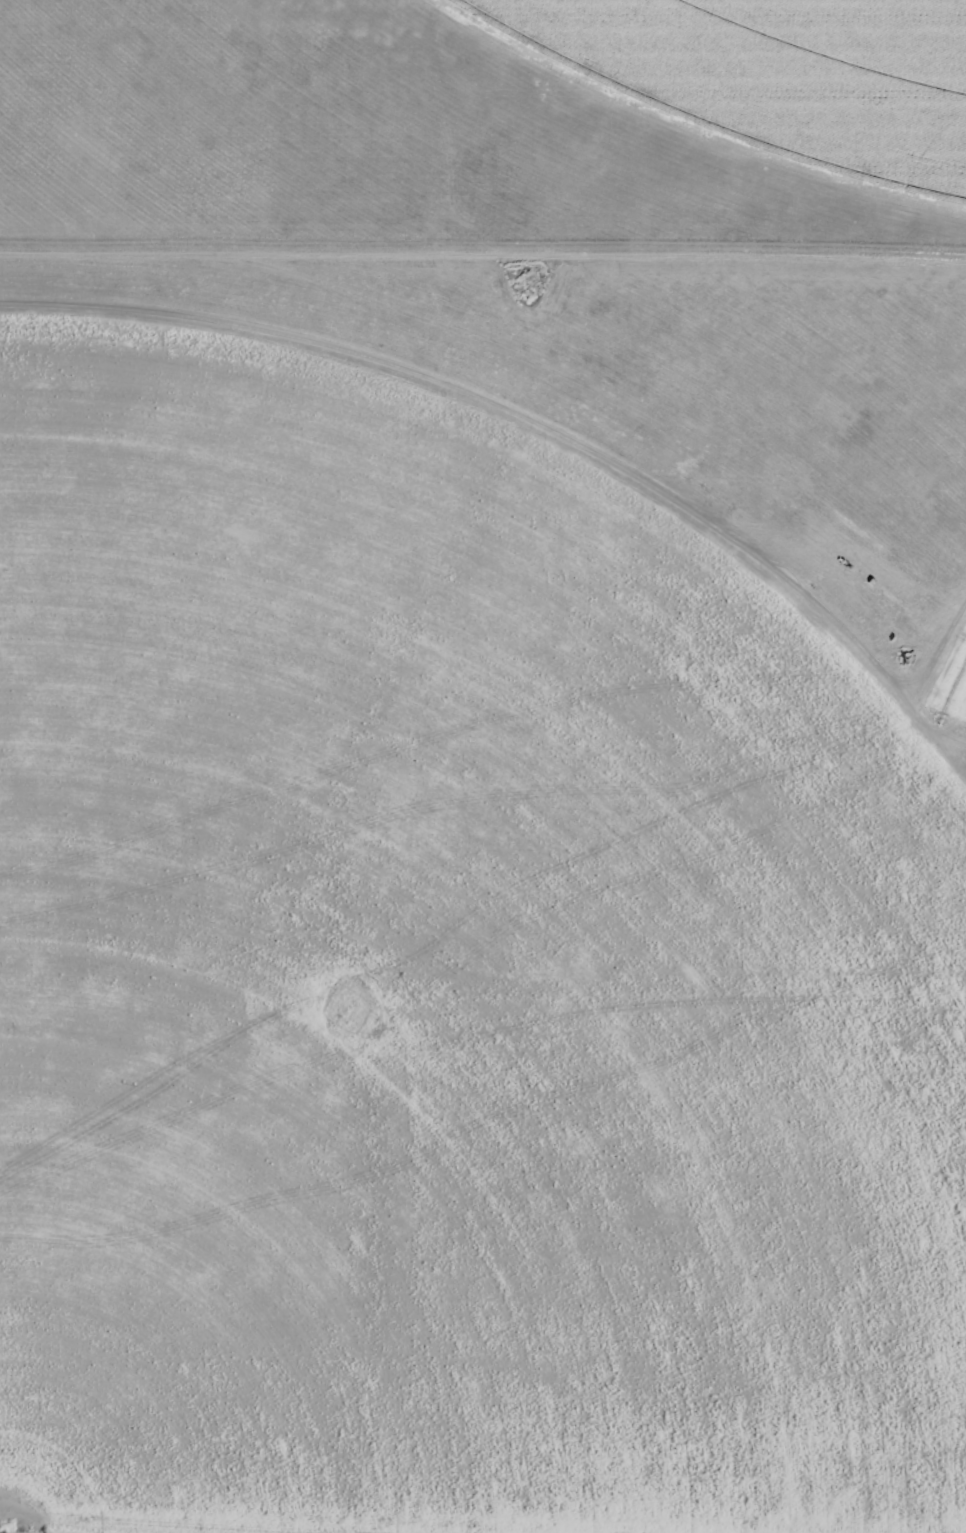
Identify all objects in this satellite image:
road: (483, 280)

